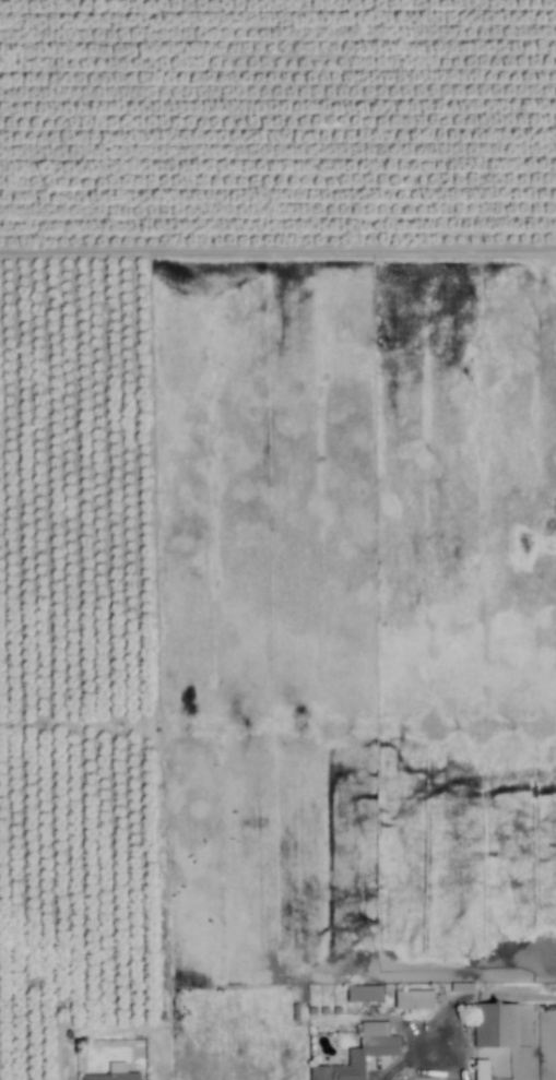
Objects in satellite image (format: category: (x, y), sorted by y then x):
building: (366, 996)
building: (415, 1001)
building: (496, 1026)
building: (364, 1054)
road: (411, 1060)
building: (484, 1070)
building: (116, 1075)

